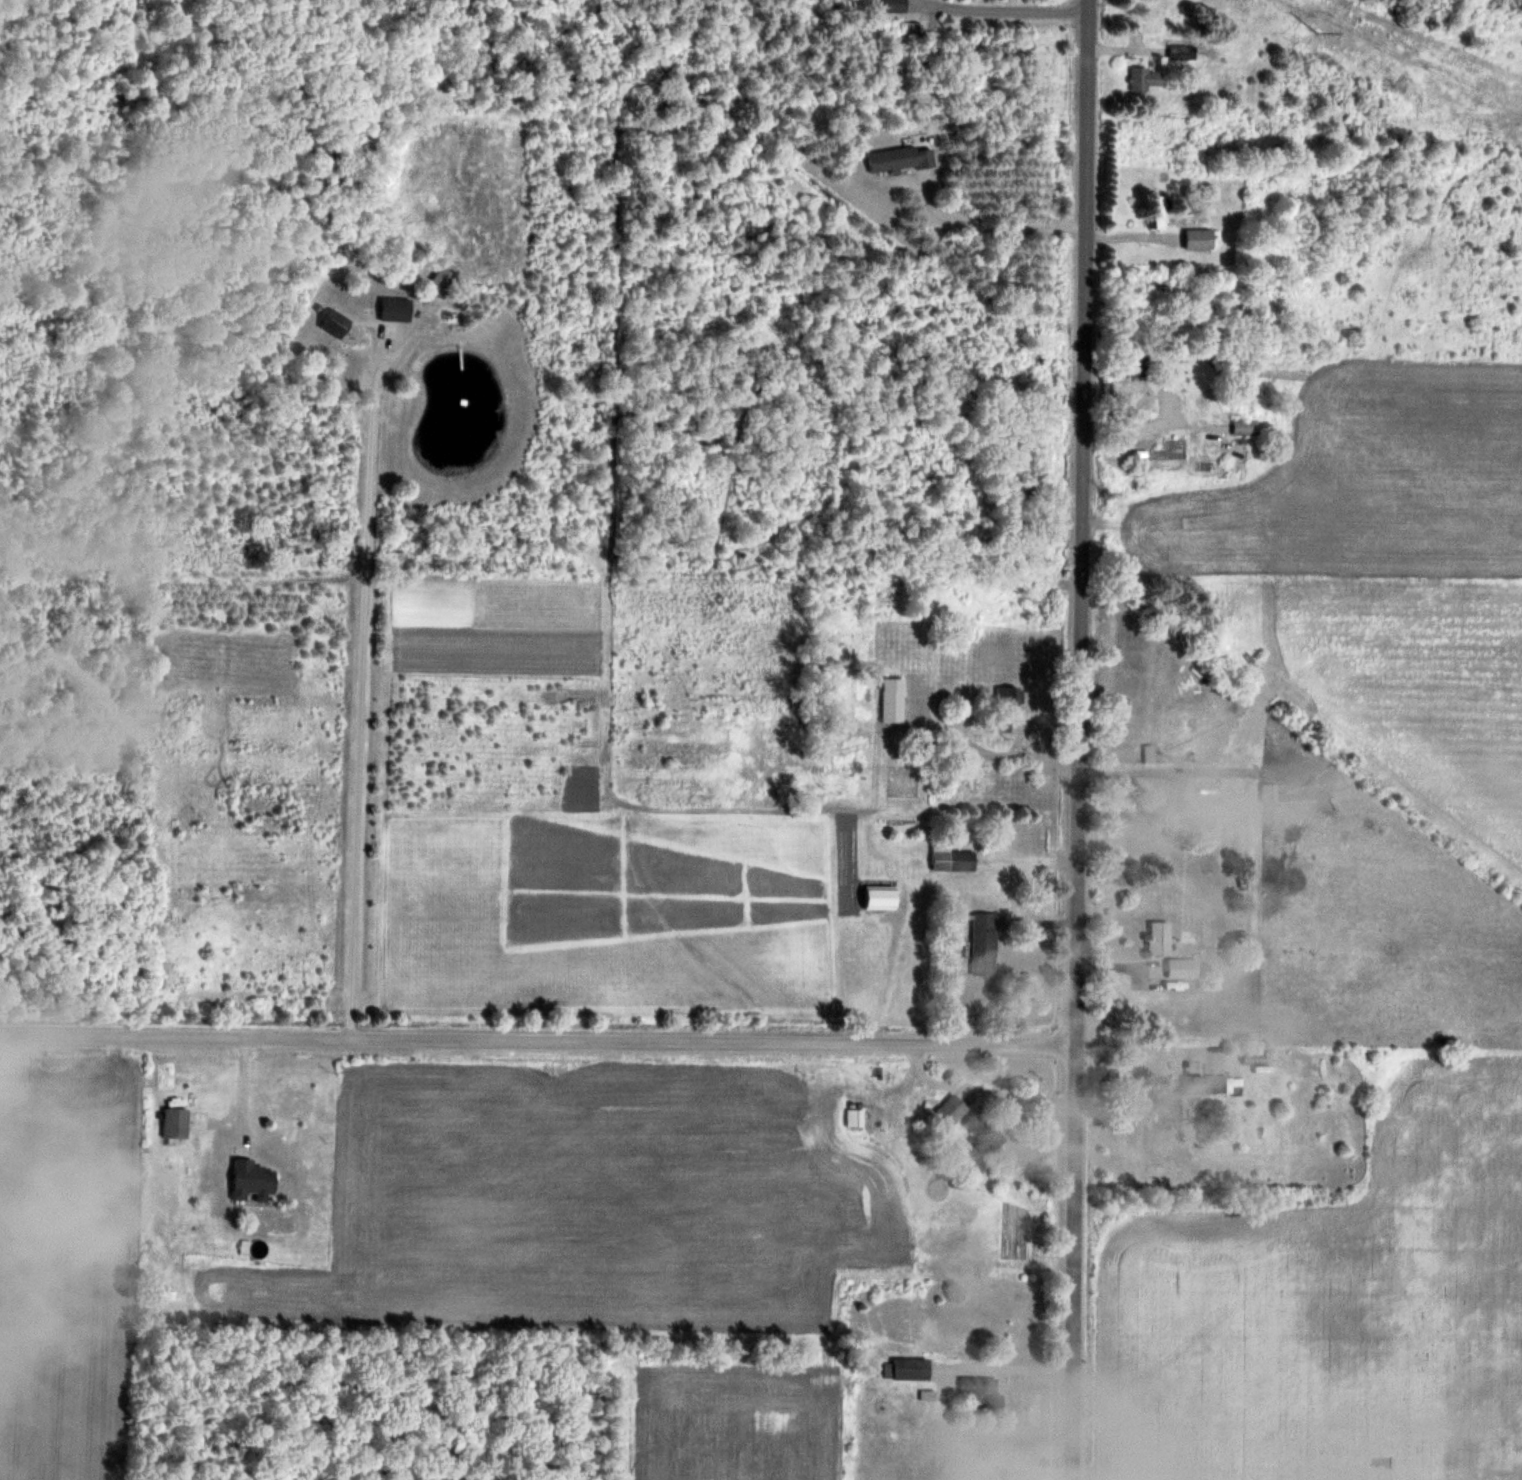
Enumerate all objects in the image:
building: (895, 6)
road: (1006, 10)
power tower: (1317, 29)
building: (914, 31)
building: (1182, 53)
building: (1146, 79)
building: (902, 159)
building: (1161, 212)
road: (995, 224)
building: (1200, 239)
building: (442, 281)
building: (395, 309)
building: (336, 324)
building: (1136, 366)
building: (1247, 427)
road: (358, 688)
building: (894, 698)
building: (1006, 704)
road: (1086, 739)
building: (1213, 795)
building: (954, 859)
building: (882, 896)
building: (1160, 936)
building: (985, 942)
building: (1184, 967)
road: (541, 1044)
building: (1193, 1083)
building: (1220, 1083)
building: (1169, 1103)
building: (953, 1108)
building: (856, 1117)
building: (184, 1121)
building: (986, 1130)
building: (253, 1180)
road: (1011, 1366)
building: (912, 1368)
building: (984, 1393)

